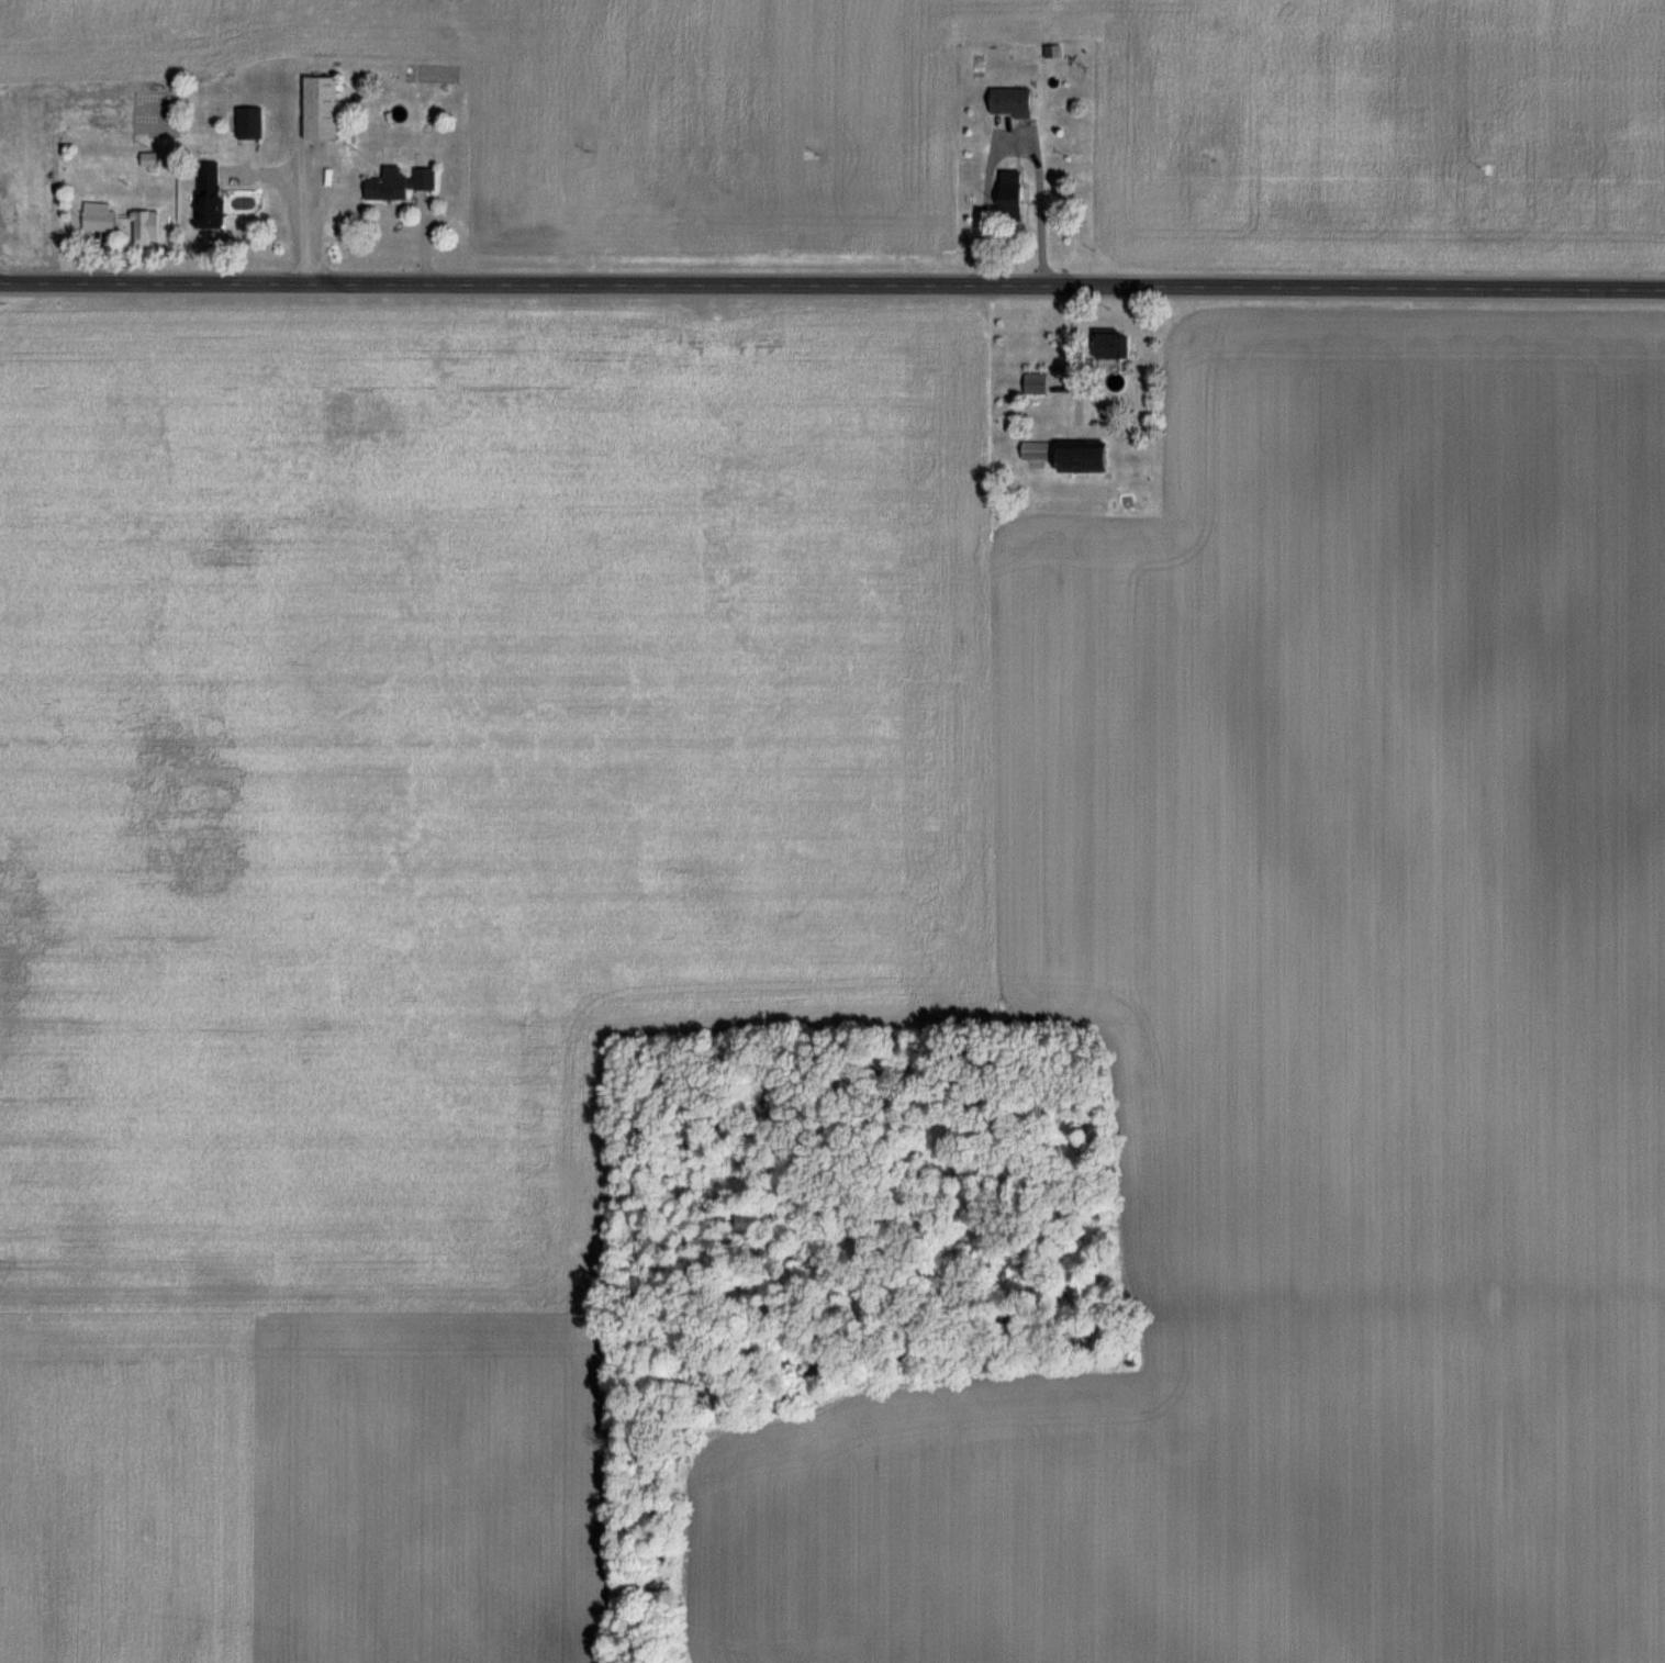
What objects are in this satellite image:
building: (1014, 101)
building: (323, 107)
building: (252, 122)
road: (1013, 145)
building: (401, 182)
building: (211, 193)
building: (1015, 194)
building: (99, 220)
building: (148, 226)
road: (832, 283)
building: (1111, 345)
building: (1038, 382)
building: (1076, 455)

